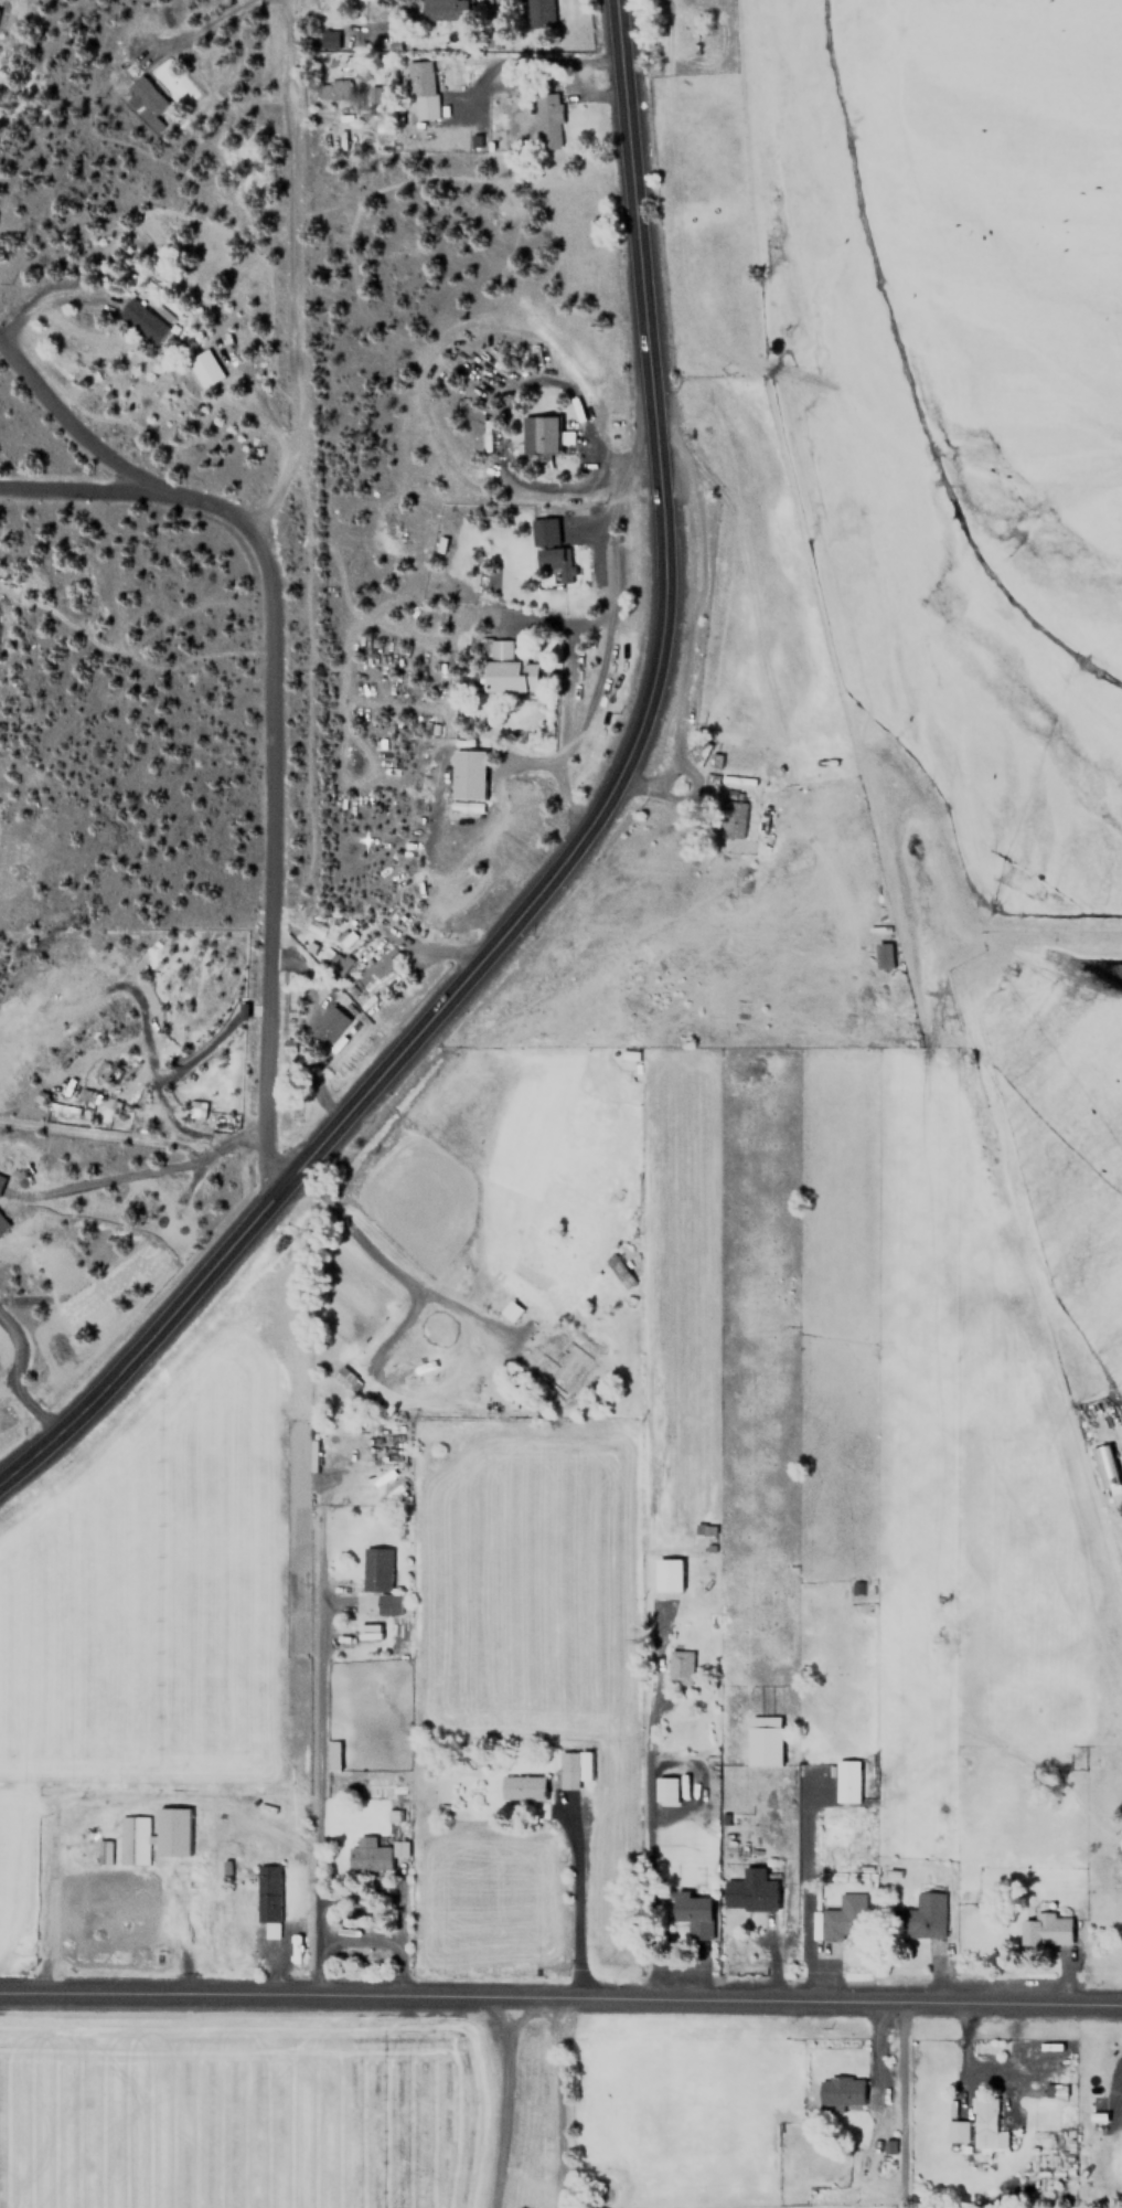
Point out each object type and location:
building: (537, 8)
building: (442, 10)
building: (330, 39)
road: (524, 54)
building: (333, 88)
building: (420, 89)
building: (374, 94)
building: (143, 100)
building: (546, 120)
road: (43, 299)
building: (140, 321)
building: (202, 368)
building: (539, 435)
road: (114, 458)
road: (576, 485)
road: (78, 489)
road: (610, 508)
building: (555, 563)
road: (270, 595)
road: (557, 623)
building: (506, 668)
road: (599, 669)
building: (467, 774)
building: (733, 813)
road: (574, 841)
building: (345, 936)
building: (883, 955)
building: (333, 958)
building: (377, 968)
building: (330, 1026)
road: (147, 1171)
building: (0, 1177)
building: (1, 1225)
building: (617, 1270)
building: (575, 1365)
building: (344, 1378)
road: (15, 1380)
building: (1103, 1469)
building: (704, 1529)
building: (667, 1574)
building: (376, 1583)
building: (680, 1666)
building: (763, 1740)
building: (573, 1768)
building: (846, 1780)
building: (521, 1786)
building: (665, 1790)
road: (318, 1792)
building: (153, 1835)
building: (104, 1851)
building: (373, 1854)
building: (749, 1890)
building: (268, 1899)
road: (568, 1902)
building: (691, 1907)
building: (844, 1917)
building: (919, 1918)
building: (1045, 1926)
building: (1121, 1931)
road: (560, 1997)
building: (840, 2090)
road: (503, 2102)
road: (557, 2102)
building: (985, 2124)
building: (957, 2131)
building: (834, 2187)

